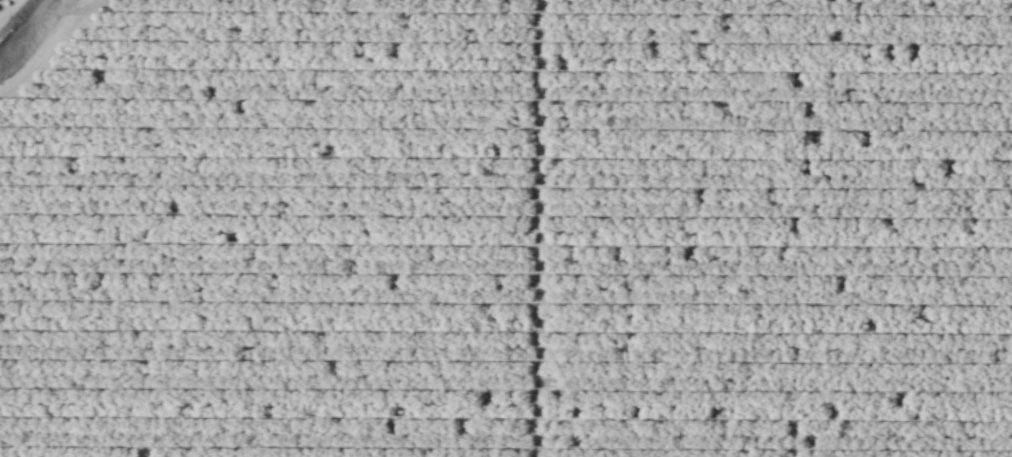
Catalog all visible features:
road: (7, 7)
road: (46, 46)
road: (537, 228)

